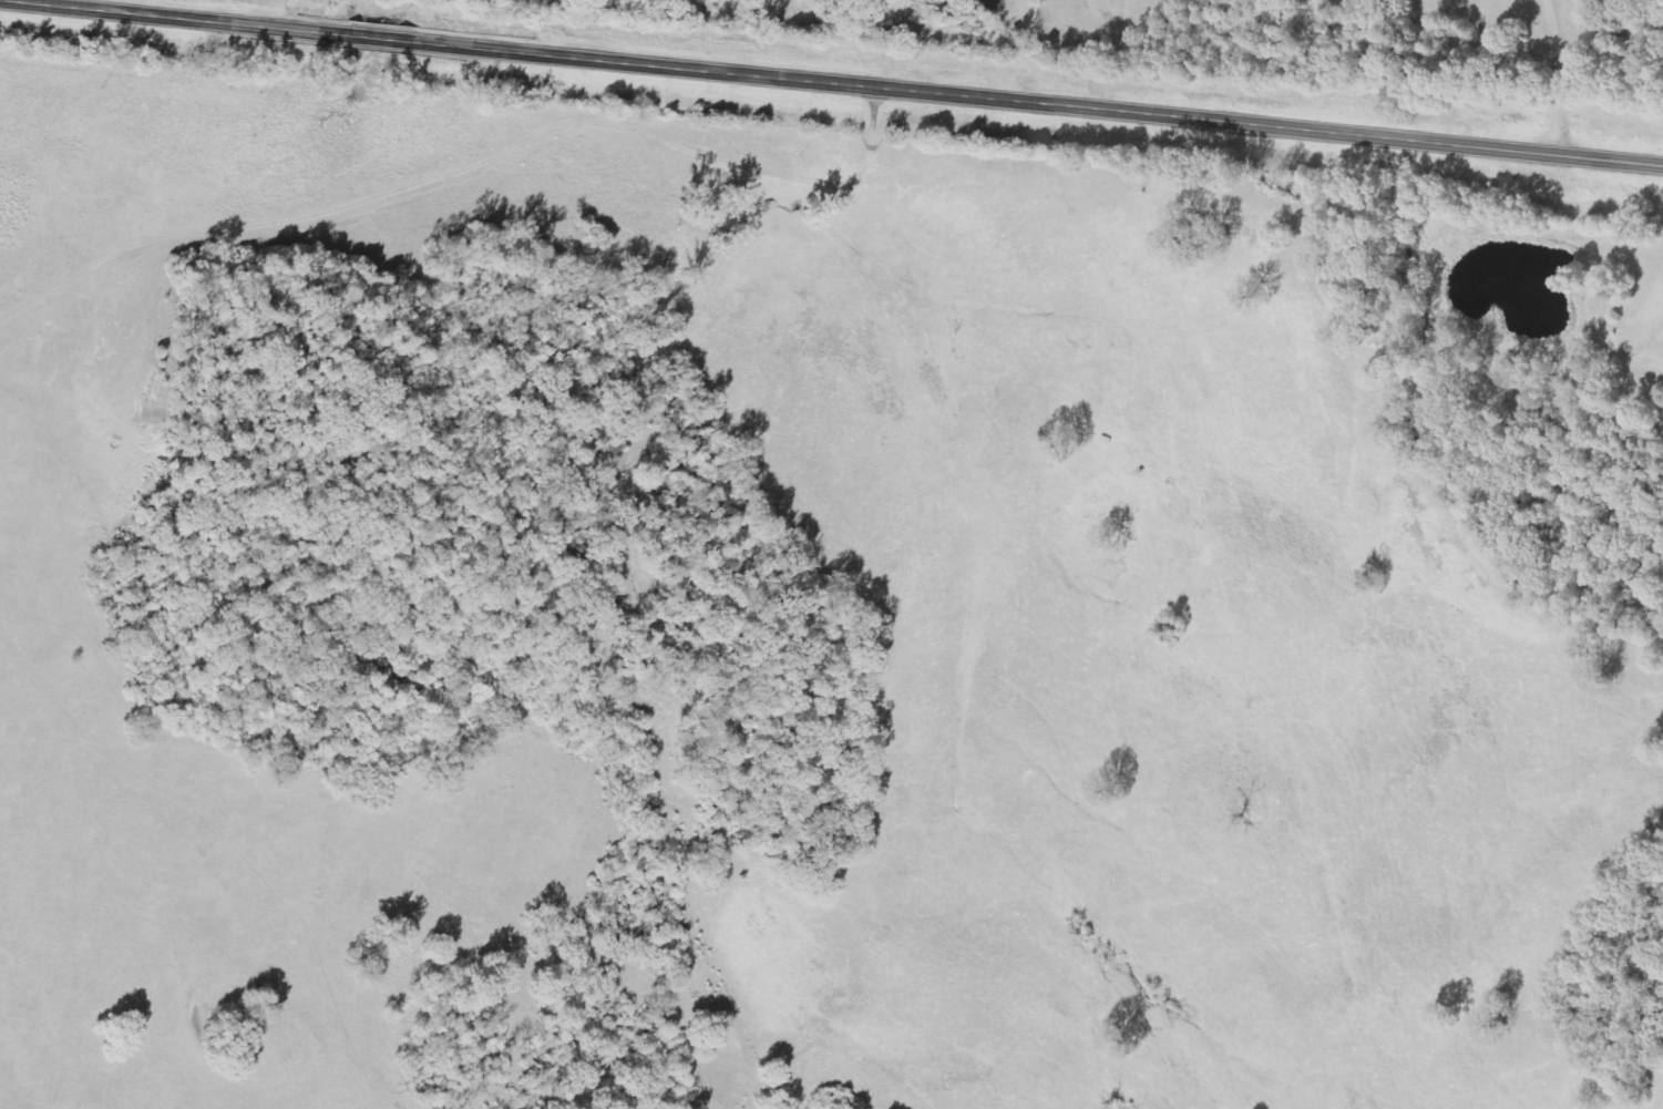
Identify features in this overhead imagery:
road: (513, 39)
road: (1287, 122)

